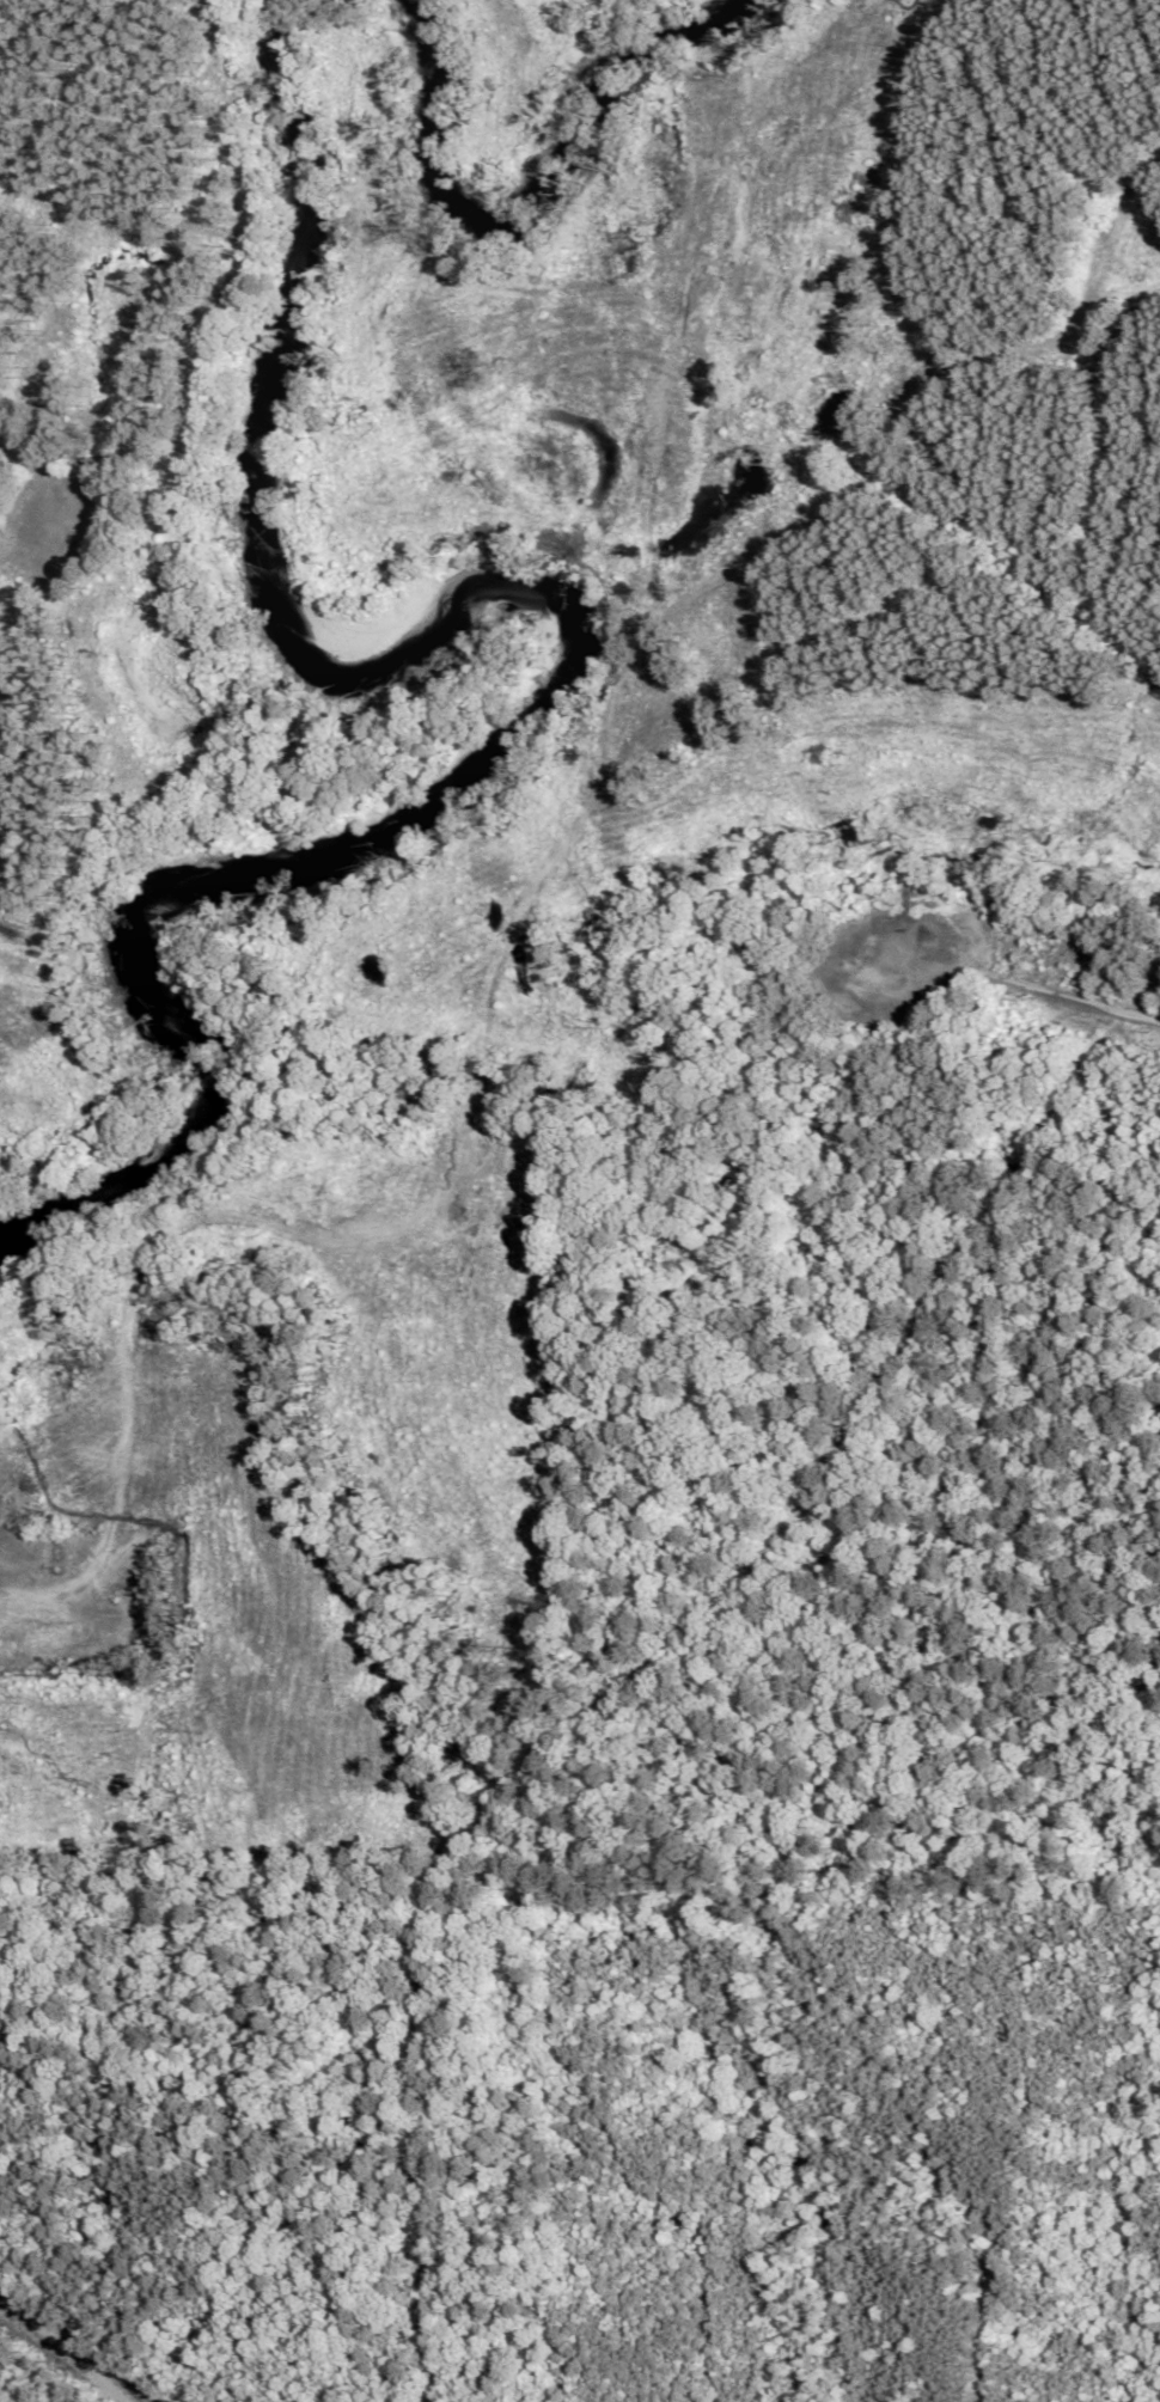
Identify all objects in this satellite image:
river: (532, 202)
road: (38, 462)
river: (560, 678)
road: (1072, 1003)
road: (65, 2347)

